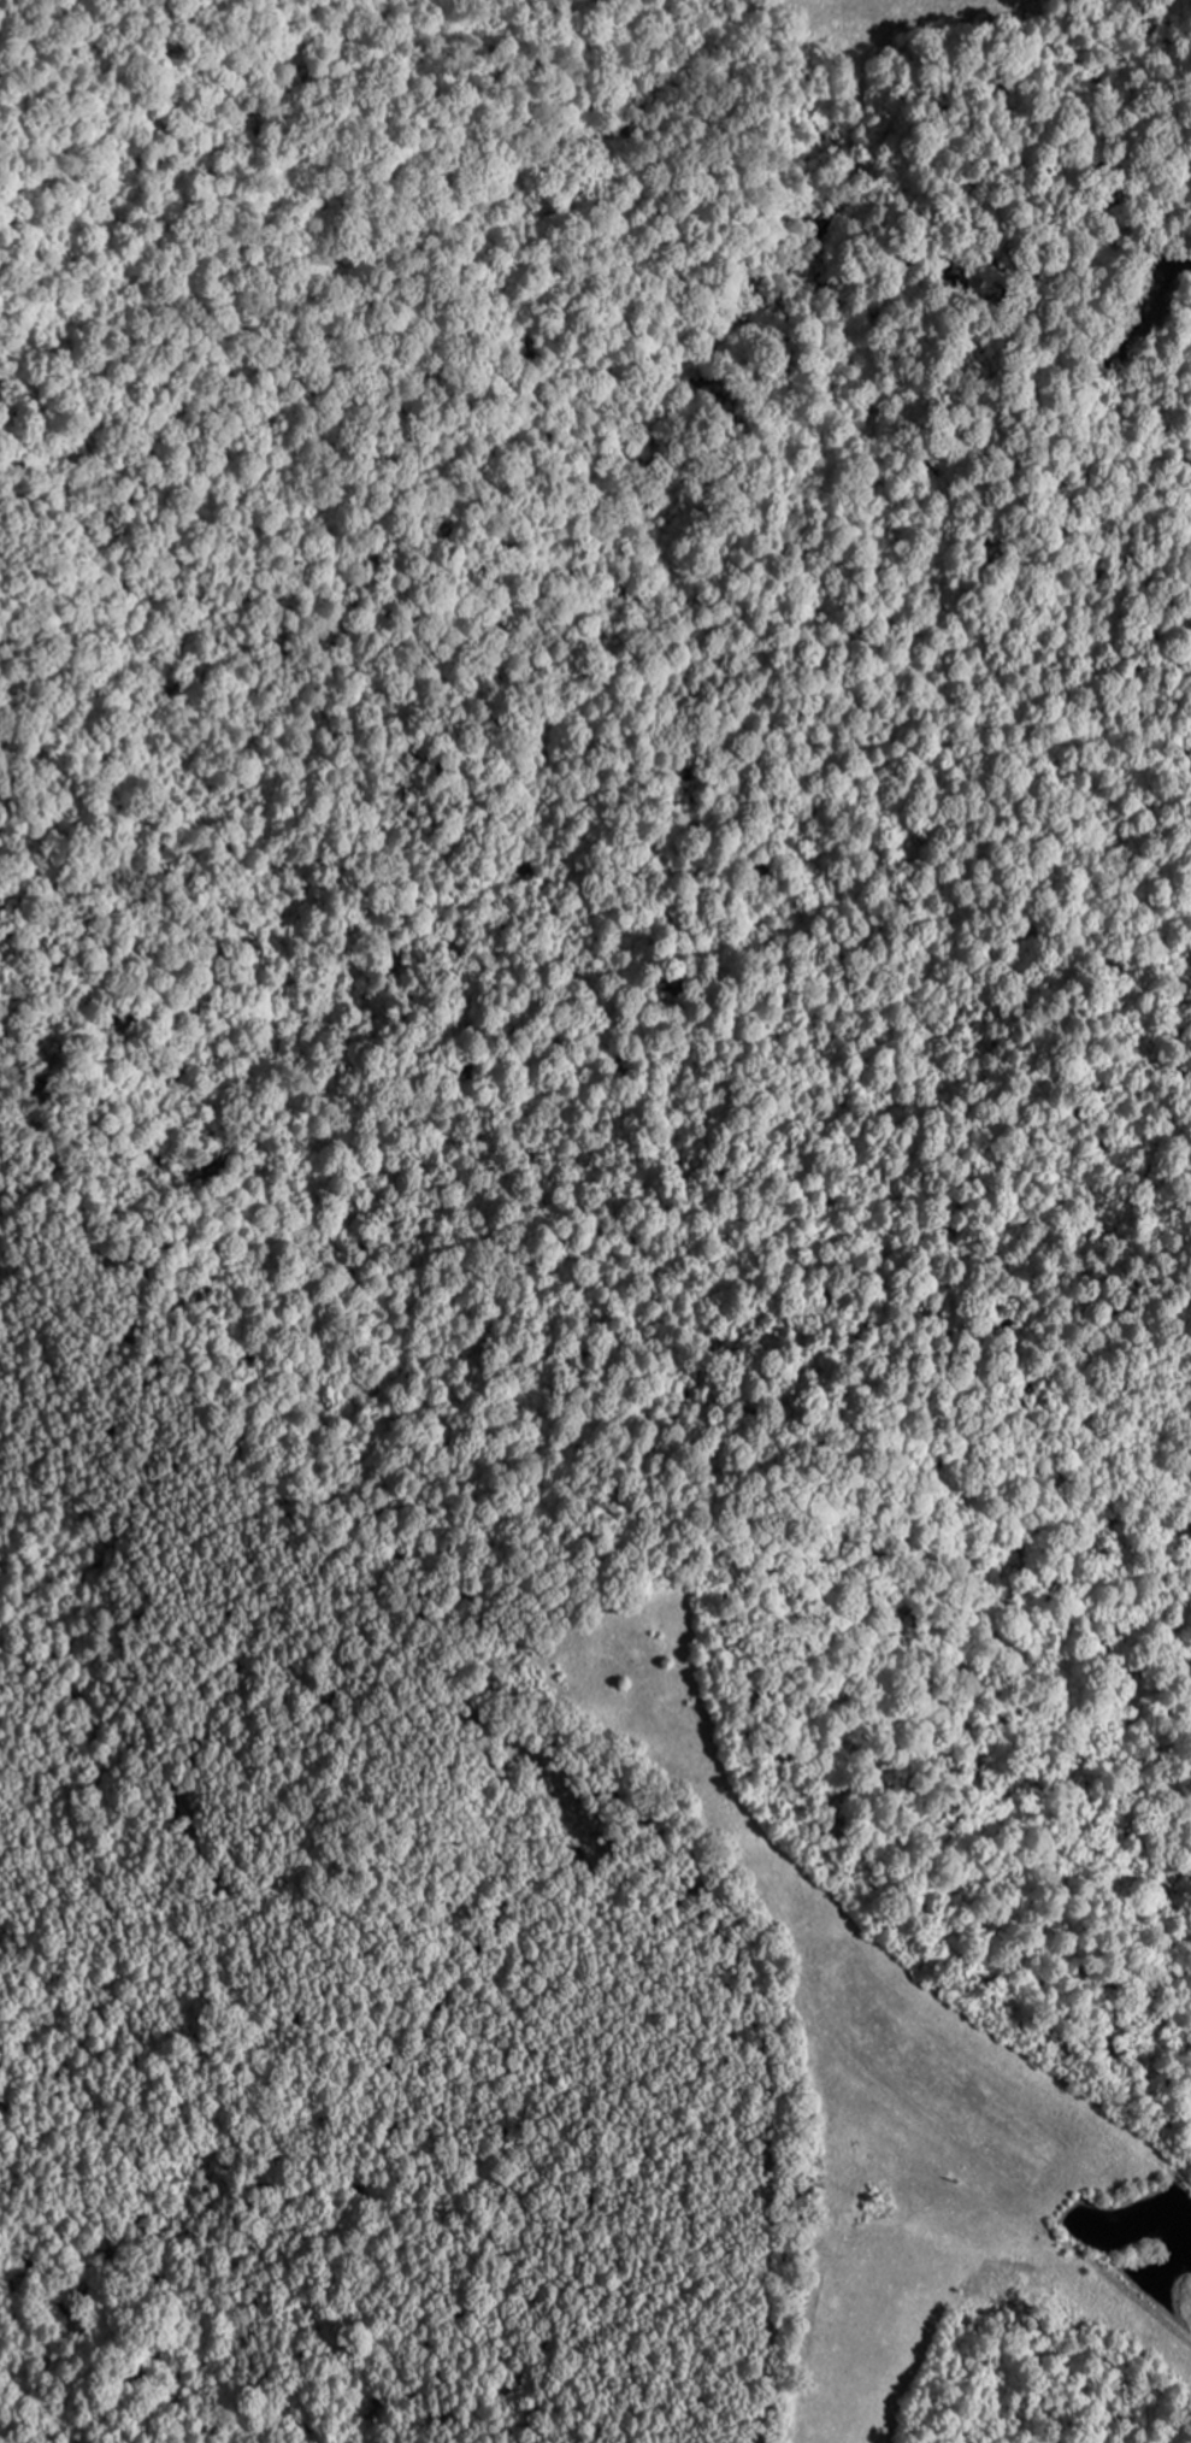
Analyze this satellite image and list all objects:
road: (883, 2221)

